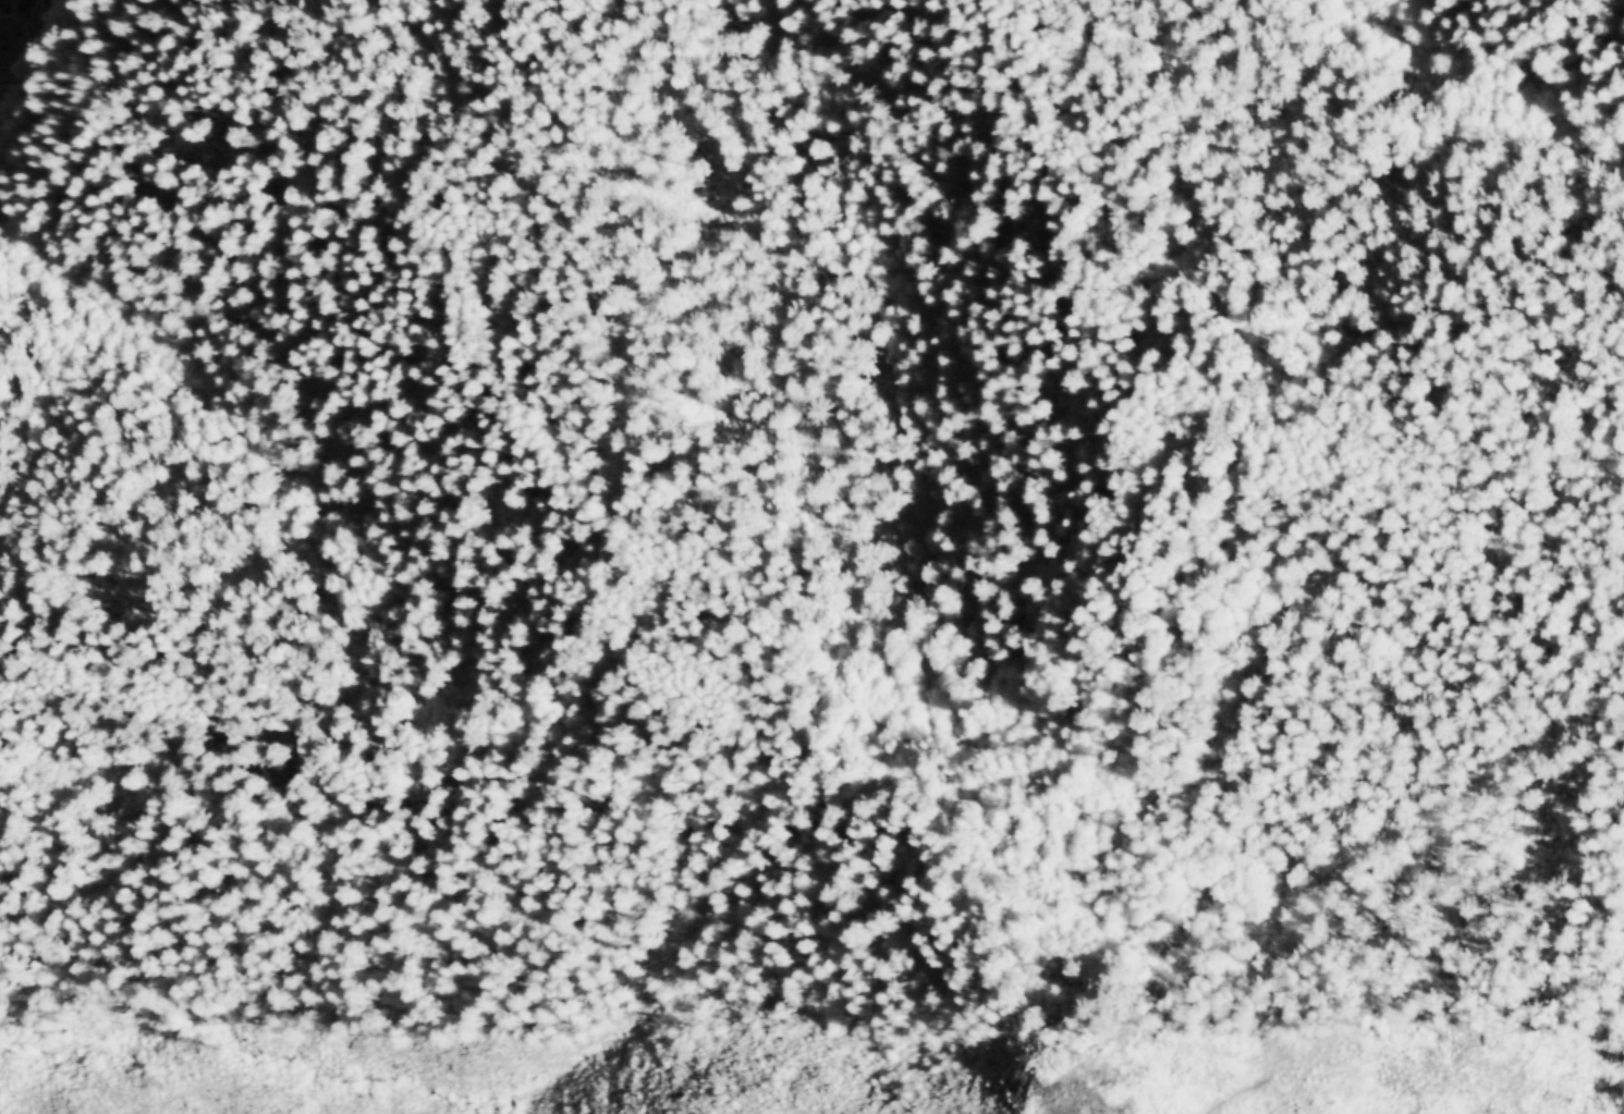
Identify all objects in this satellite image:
road: (1439, 120)
road: (39, 132)
park: (808, 505)
road: (1114, 563)

